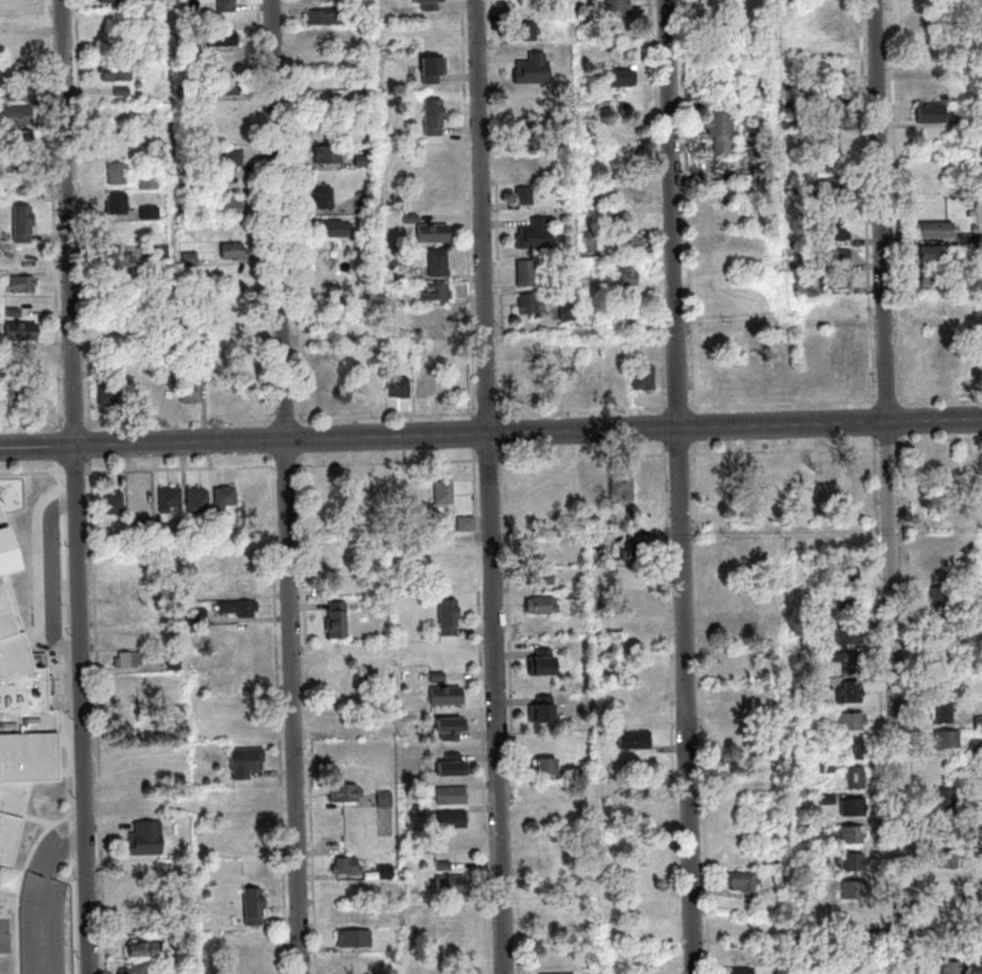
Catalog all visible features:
building: (110, 1)
building: (13, 2)
building: (979, 3)
building: (225, 5)
building: (430, 5)
building: (619, 7)
building: (325, 18)
road: (485, 19)
building: (827, 19)
building: (786, 26)
building: (525, 31)
building: (219, 37)
building: (115, 71)
building: (432, 71)
building: (533, 71)
building: (624, 78)
building: (224, 84)
building: (924, 88)
building: (831, 92)
building: (21, 93)
building: (119, 95)
building: (769, 98)
building: (789, 99)
building: (737, 102)
building: (346, 105)
building: (203, 107)
building: (930, 114)
building: (833, 116)
building: (19, 117)
building: (434, 118)
building: (827, 121)
building: (964, 122)
building: (790, 124)
building: (528, 130)
building: (722, 131)
building: (118, 135)
building: (20, 140)
building: (148, 153)
building: (332, 154)
building: (226, 155)
building: (25, 163)
building: (365, 163)
building: (115, 172)
building: (759, 174)
building: (147, 180)
building: (19, 187)
building: (833, 187)
building: (526, 196)
building: (801, 196)
building: (325, 198)
building: (116, 201)
building: (967, 202)
road: (898, 203)
road: (868, 204)
building: (226, 205)
building: (368, 205)
road: (659, 207)
road: (688, 207)
building: (148, 211)
road: (265, 212)
building: (974, 214)
road: (55, 215)
road: (85, 215)
road: (499, 218)
building: (412, 219)
building: (23, 225)
building: (333, 230)
building: (976, 230)
building: (936, 231)
building: (835, 234)
building: (434, 235)
building: (536, 236)
building: (968, 239)
building: (591, 243)
building: (628, 244)
building: (233, 249)
building: (160, 253)
building: (930, 255)
building: (121, 256)
building: (188, 257)
building: (836, 258)
building: (969, 260)
building: (439, 264)
building: (527, 274)
building: (405, 276)
building: (631, 278)
building: (937, 280)
building: (837, 281)
building: (26, 285)
building: (800, 288)
building: (438, 293)
building: (235, 297)
building: (399, 299)
building: (530, 304)
building: (14, 313)
building: (569, 313)
building: (120, 324)
building: (23, 332)
building: (970, 341)
building: (199, 358)
building: (106, 360)
building: (857, 366)
building: (587, 377)
building: (560, 379)
building: (645, 380)
building: (399, 388)
building: (190, 390)
building: (121, 393)
building: (163, 393)
building: (12, 396)
road: (941, 400)
road: (889, 401)
road: (784, 404)
road: (679, 408)
road: (583, 410)
road: (489, 413)
road: (388, 416)
road: (286, 420)
road: (180, 422)
road: (875, 422)
road: (904, 422)
road: (31, 425)
road: (75, 425)
road: (664, 428)
road: (696, 428)
road: (505, 432)
road: (536, 432)
road: (272, 441)
road: (940, 441)
road: (475, 442)
road: (92, 445)
road: (890, 446)
road: (46, 447)
road: (61, 447)
road: (301, 448)
road: (786, 451)
road: (680, 455)
road: (585, 458)
road: (491, 461)
road: (388, 463)
road: (287, 466)
road: (61, 468)
road: (182, 469)
road: (77, 472)
road: (34, 473)
building: (648, 485)
road: (681, 486)
road: (891, 486)
road: (77, 487)
road: (287, 487)
road: (491, 487)
building: (623, 488)
building: (390, 491)
building: (252, 494)
building: (445, 494)
building: (226, 497)
building: (171, 500)
building: (199, 502)
building: (115, 504)
building: (630, 516)
building: (467, 525)
building: (190, 533)
building: (163, 534)
building: (219, 534)
building: (541, 550)
building: (636, 553)
building: (630, 577)
road: (54, 578)
building: (544, 578)
building: (850, 578)
building: (125, 588)
building: (573, 596)
building: (632, 596)
building: (941, 599)
building: (850, 606)
building: (542, 607)
building: (240, 609)
building: (126, 611)
building: (201, 617)
building: (449, 618)
building: (339, 622)
building: (541, 624)
building: (942, 628)
building: (849, 637)
building: (813, 655)
building: (945, 655)
building: (129, 661)
building: (850, 663)
building: (175, 664)
building: (543, 665)
building: (438, 678)
building: (809, 682)
building: (854, 693)
building: (447, 697)
road: (883, 705)
road: (912, 705)
road: (672, 708)
road: (704, 708)
road: (514, 710)
road: (484, 712)
building: (544, 712)
building: (944, 713)
road: (309, 714)
road: (280, 715)
road: (99, 716)
building: (19, 717)
building: (853, 722)
road: (70, 723)
building: (979, 723)
building: (451, 730)
building: (828, 740)
building: (949, 740)
building: (636, 741)
building: (977, 747)
building: (856, 750)
building: (247, 763)
building: (454, 768)
building: (547, 768)
building: (827, 769)
building: (579, 772)
building: (132, 775)
building: (856, 779)
building: (344, 795)
building: (453, 798)
building: (947, 799)
building: (385, 800)
building: (828, 800)
building: (854, 808)
building: (453, 821)
building: (812, 827)
building: (546, 835)
building: (853, 835)
building: (146, 841)
building: (248, 844)
building: (981, 849)
building: (548, 859)
building: (950, 860)
building: (852, 863)
building: (345, 867)
building: (444, 867)
building: (387, 873)
building: (744, 883)
building: (783, 884)
building: (452, 887)
building: (855, 890)
road: (44, 897)
building: (255, 908)
parking lot: (44, 914)
building: (456, 914)
building: (141, 923)
building: (644, 931)
building: (355, 940)
building: (952, 944)
building: (857, 946)
building: (147, 950)
building: (828, 964)
building: (953, 968)
building: (137, 969)
building: (858, 969)
building: (744, 972)
building: (556, 973)

